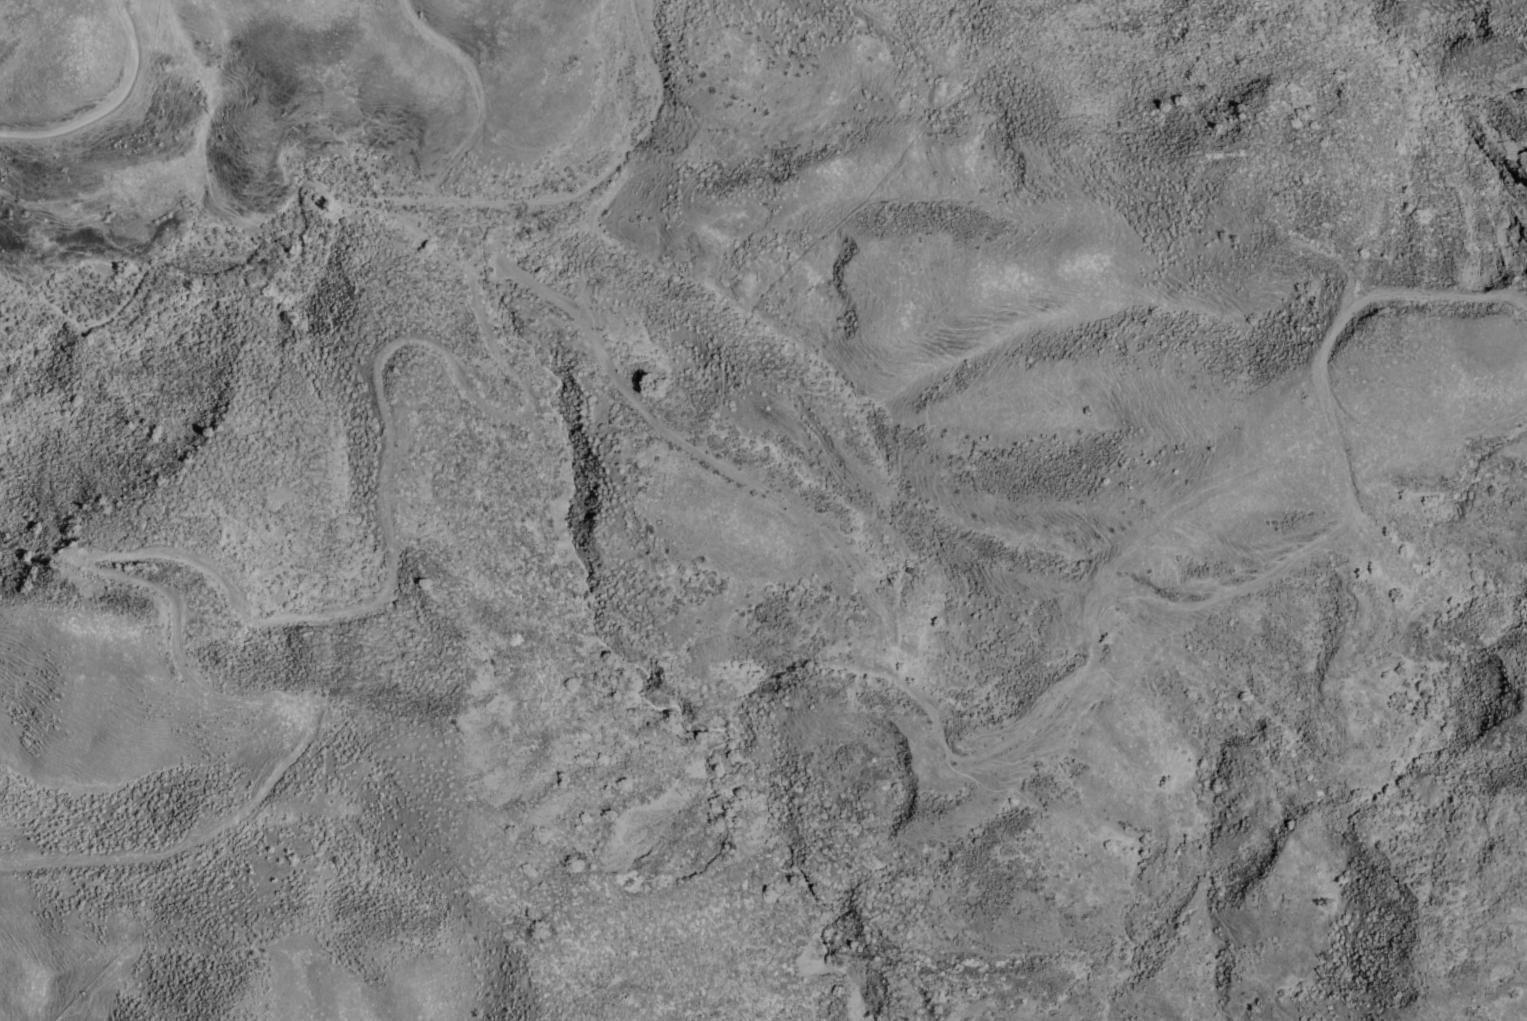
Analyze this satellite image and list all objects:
road: (106, 103)

